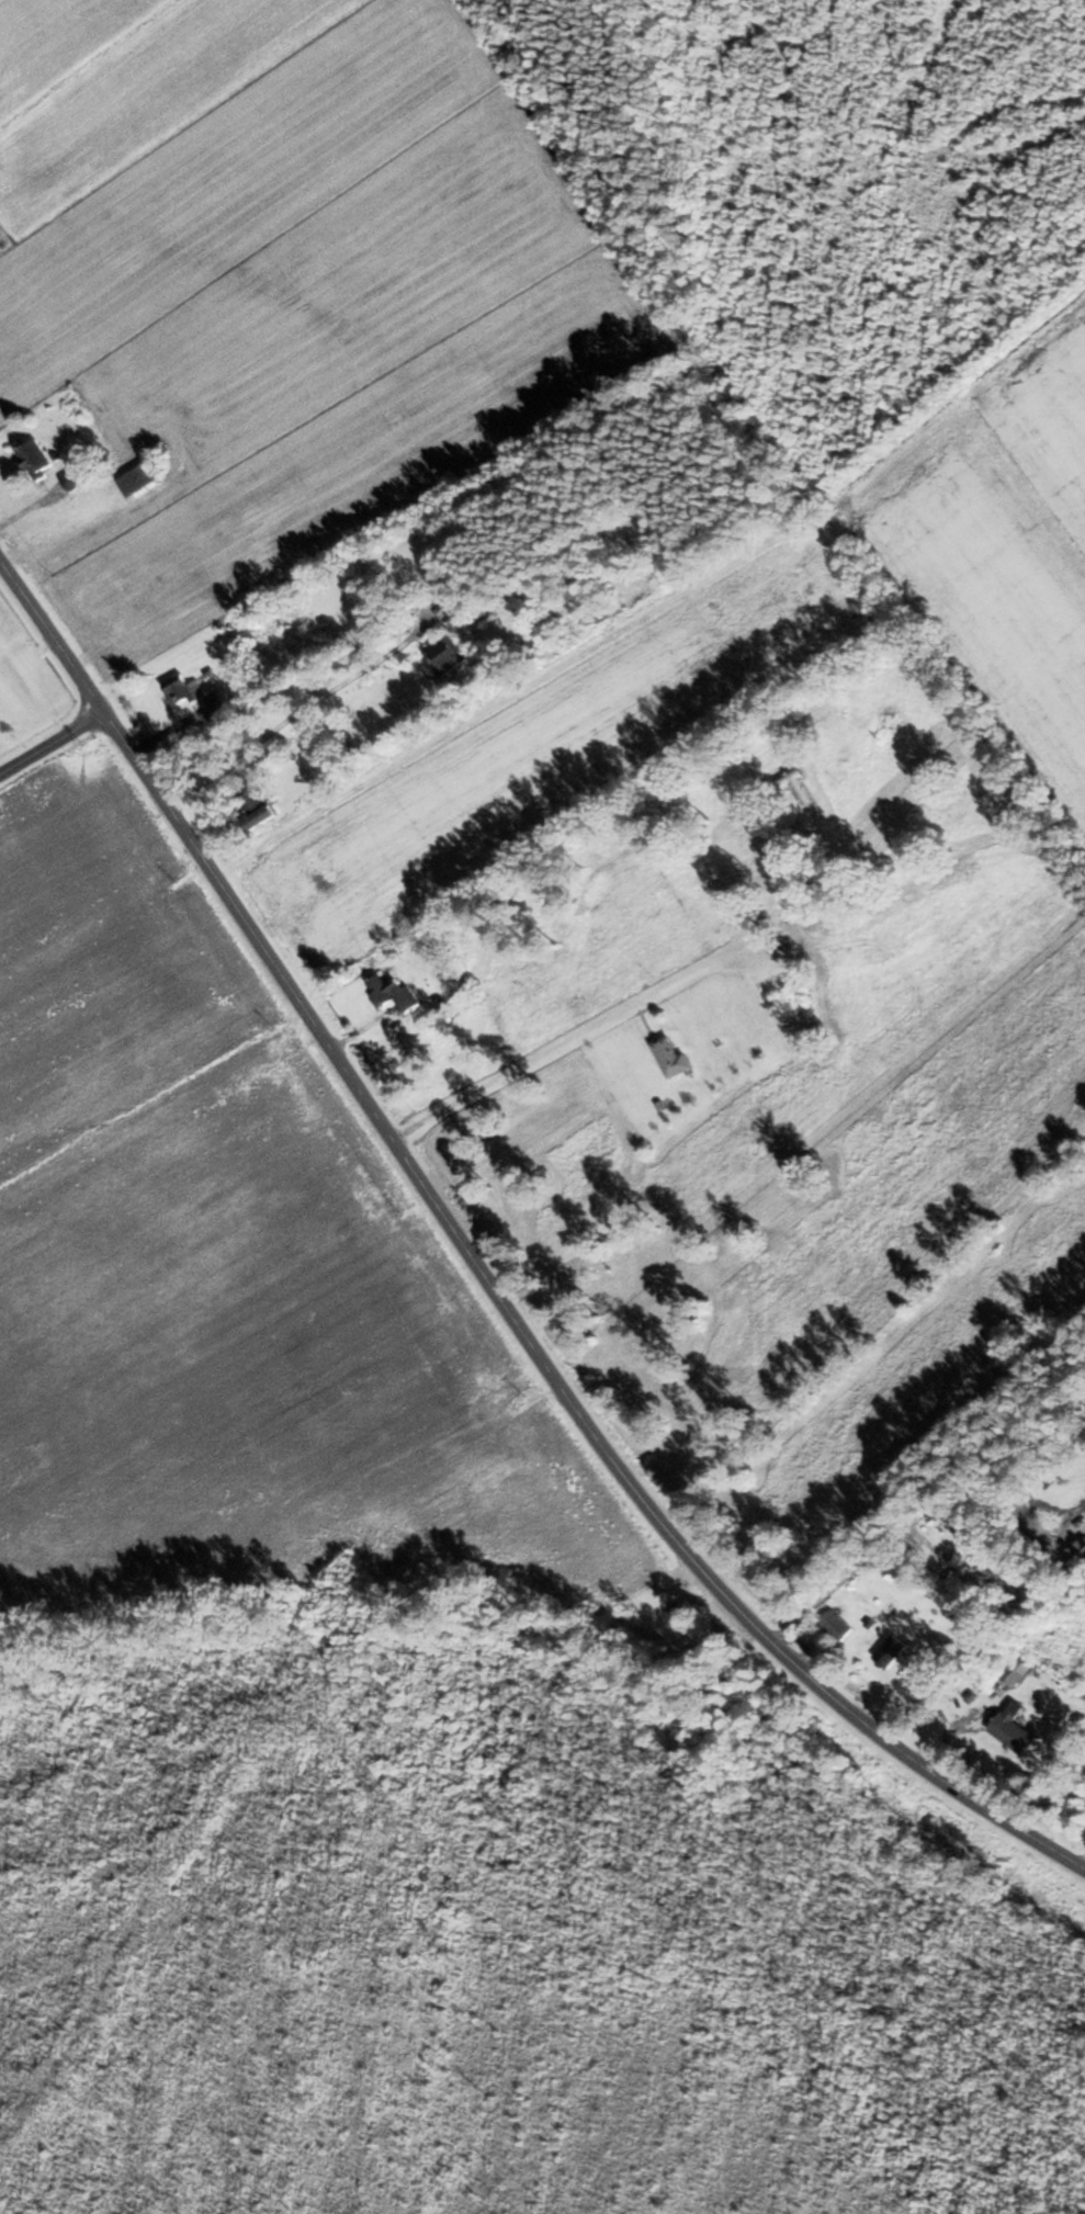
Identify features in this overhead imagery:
building: (32, 459)
building: (71, 479)
building: (136, 479)
building: (443, 655)
building: (179, 690)
road: (495, 707)
road: (289, 720)
road: (52, 745)
building: (794, 786)
building: (255, 805)
building: (389, 992)
building: (667, 1057)
road: (519, 1068)
road: (482, 1277)
building: (961, 1551)
building: (1075, 1555)
building: (893, 1573)
building: (835, 1625)
building: (1014, 1671)
building: (914, 1688)
building: (1010, 1732)

